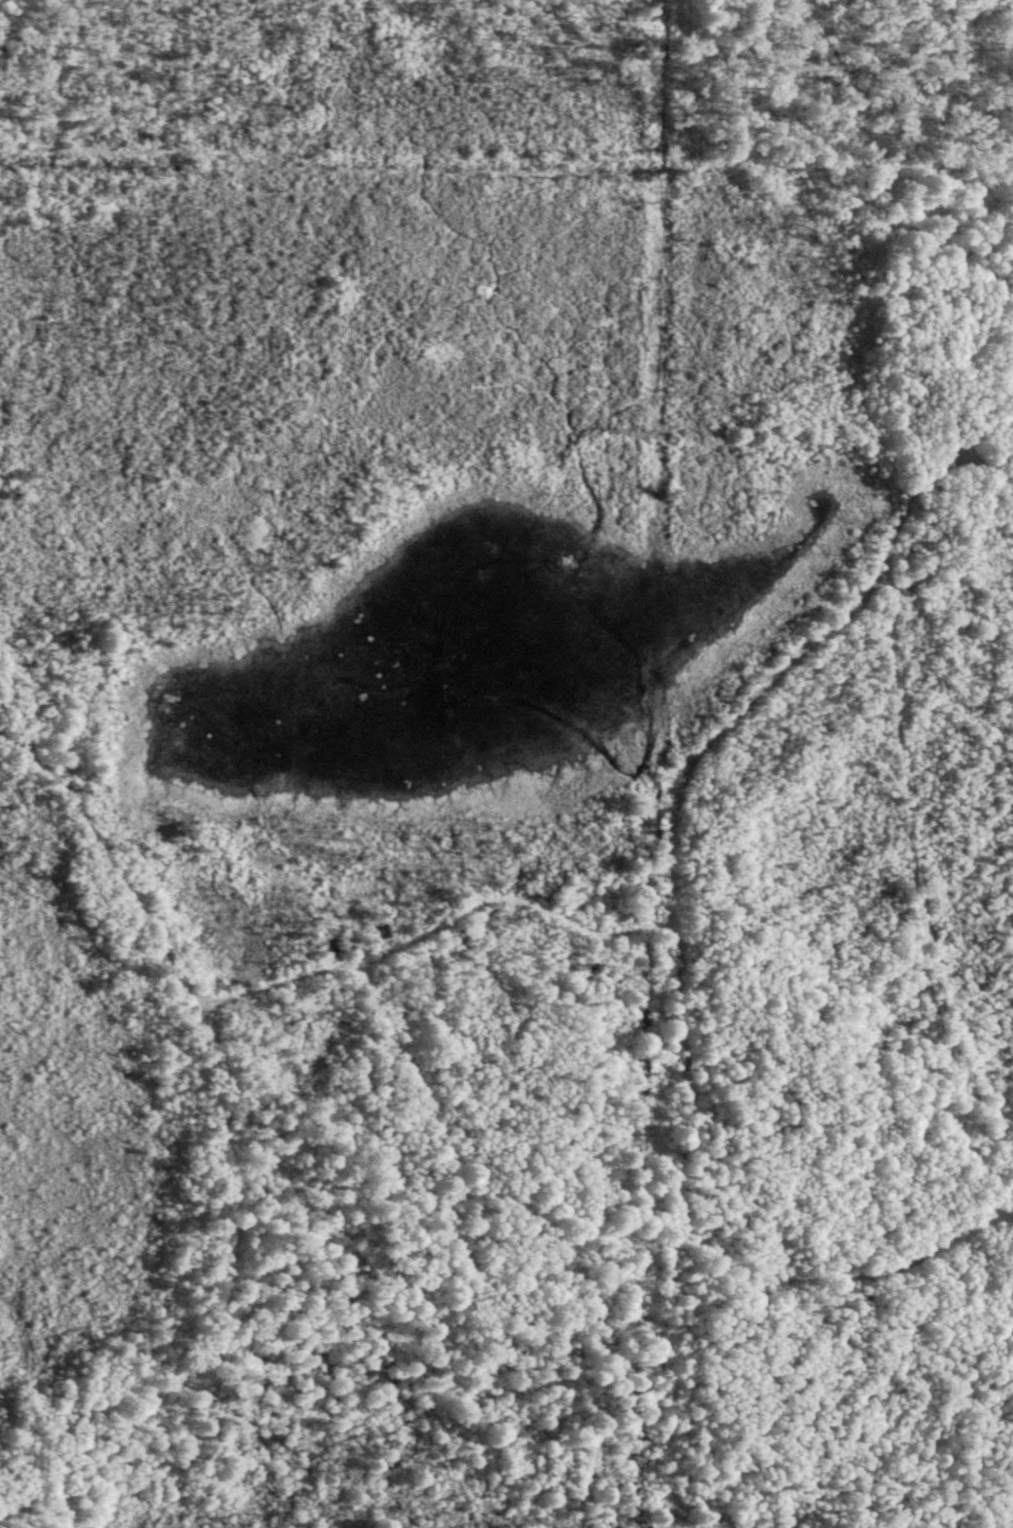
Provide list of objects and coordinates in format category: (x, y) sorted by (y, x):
road: (506, 164)
road: (896, 634)

